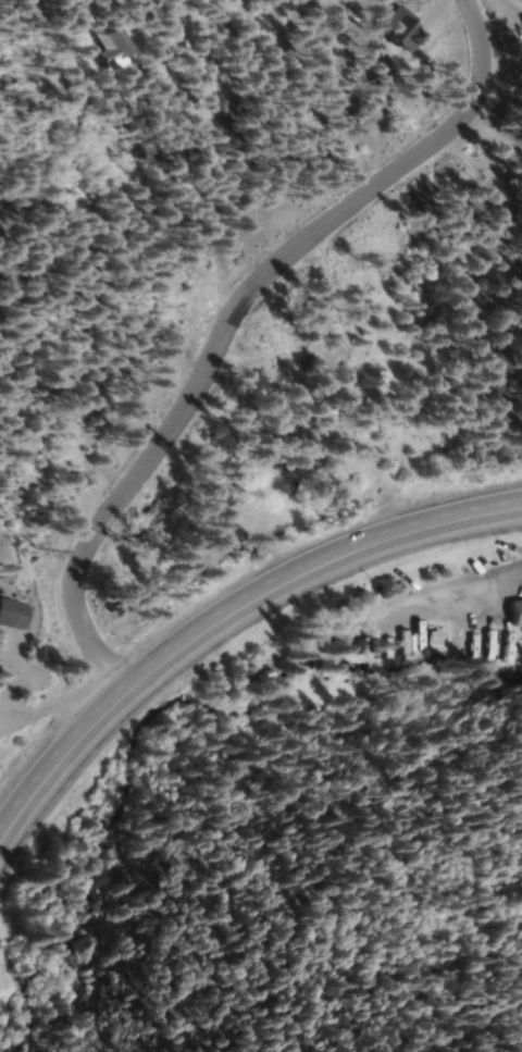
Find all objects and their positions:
building: (113, 47)
road: (213, 325)
building: (164, 506)
road: (447, 598)
building: (517, 610)
road: (223, 628)
building: (434, 639)
building: (513, 646)

